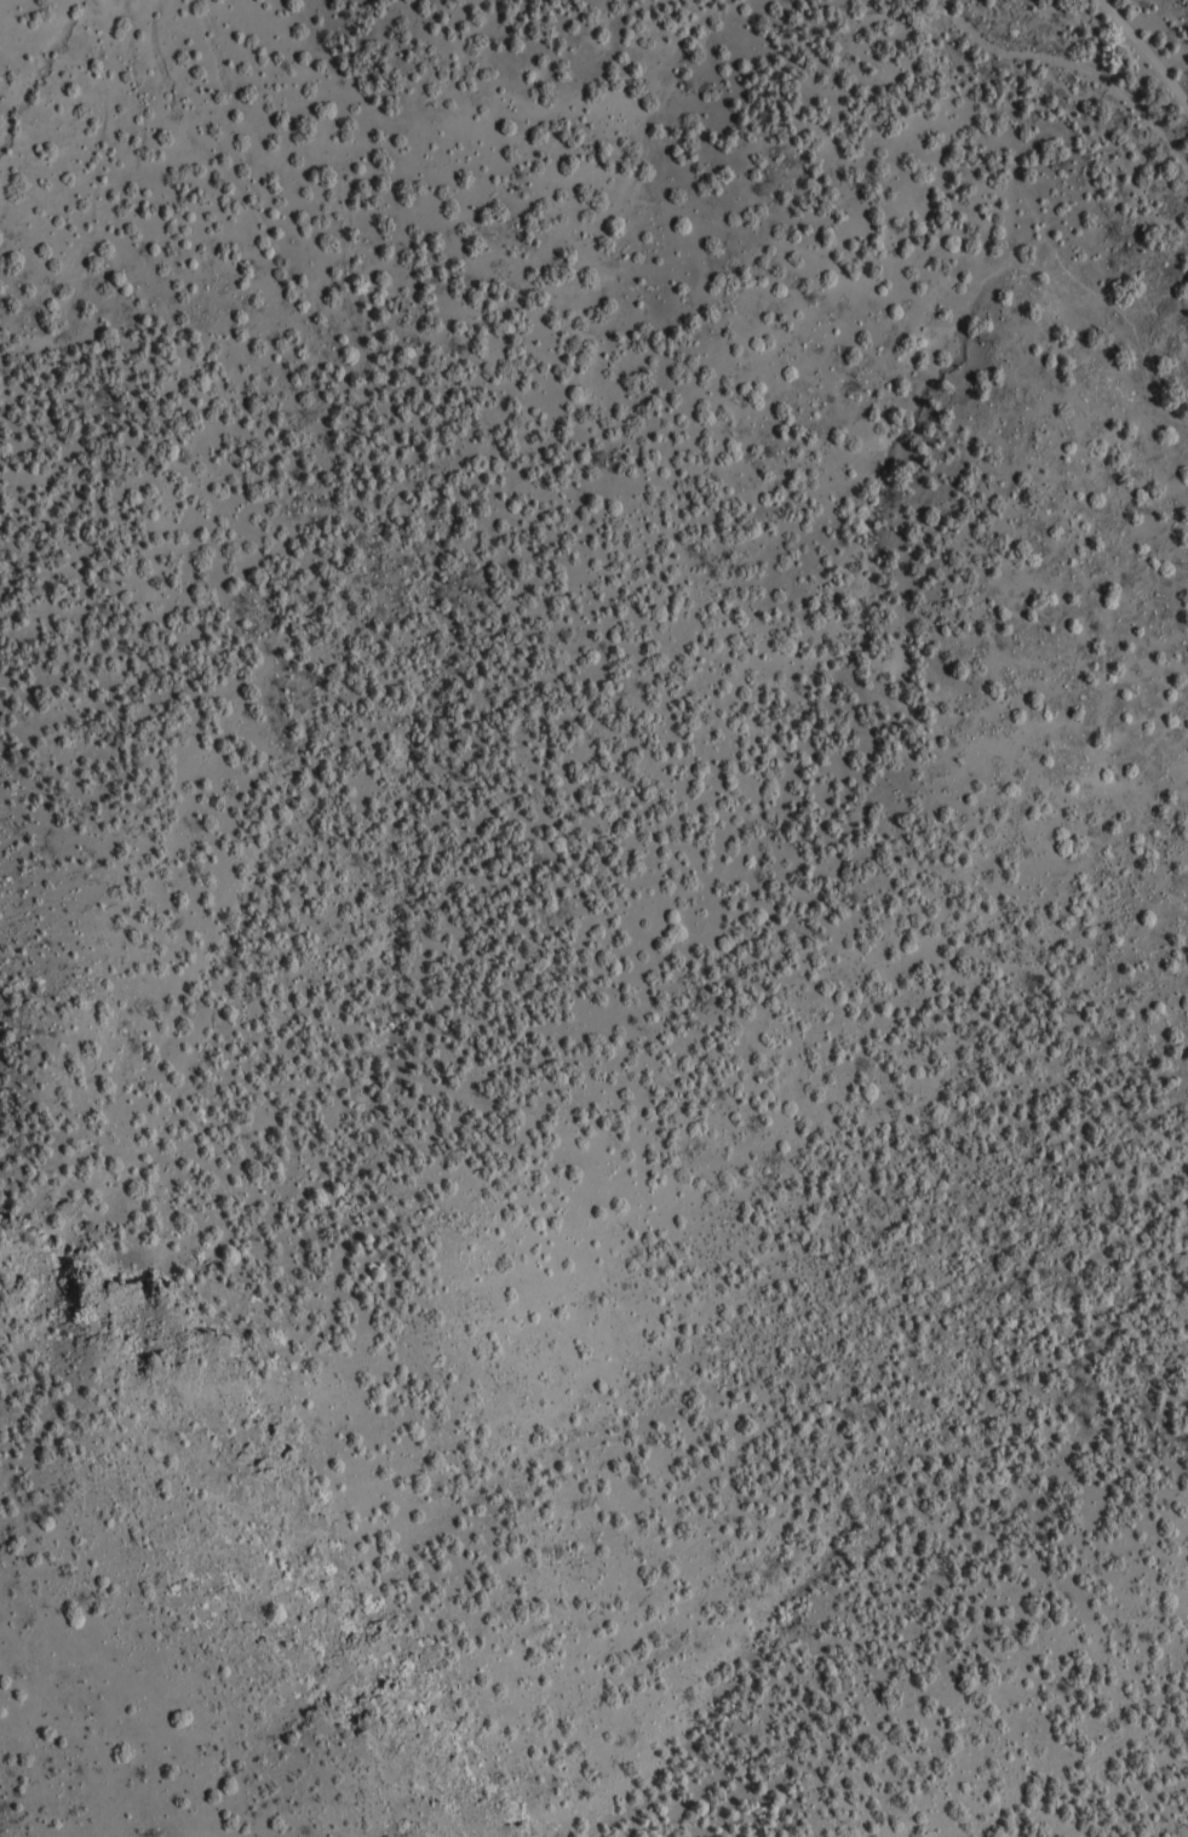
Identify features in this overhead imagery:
road: (1147, 50)

